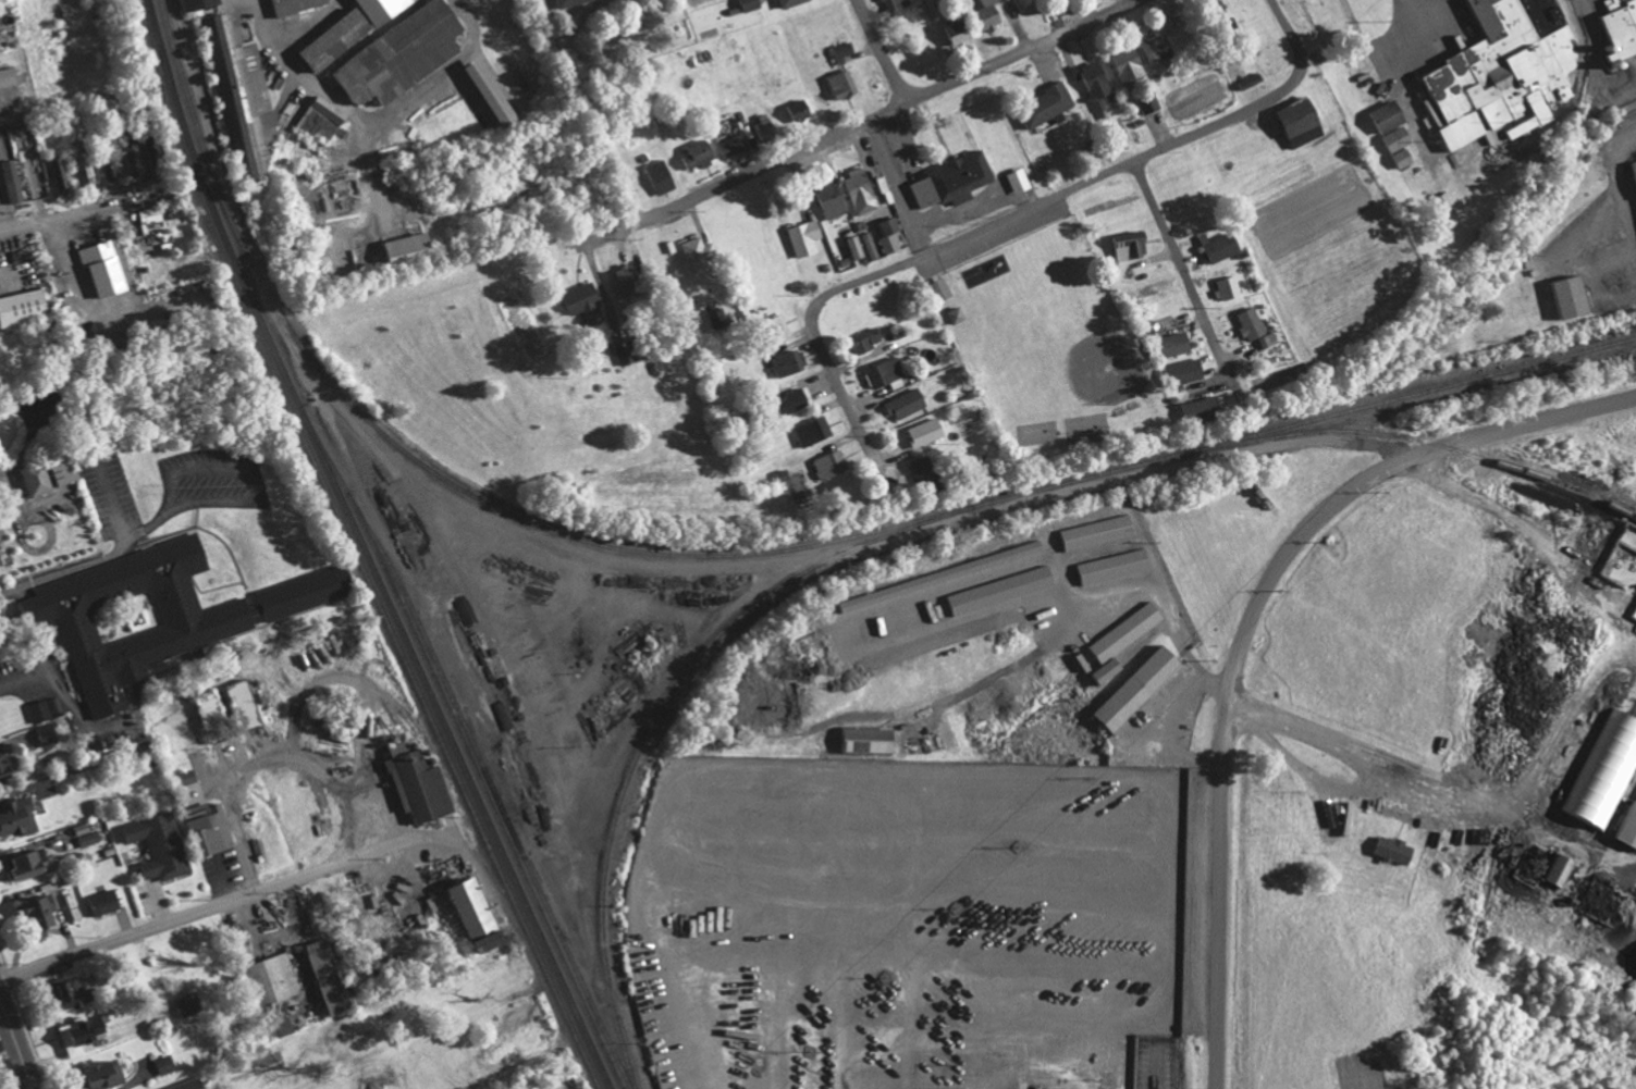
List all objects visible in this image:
road: (1418, 0)
building: (568, 2)
building: (791, 2)
building: (200, 4)
building: (749, 4)
building: (895, 4)
building: (296, 5)
building: (386, 9)
building: (981, 15)
building: (1214, 15)
road: (267, 24)
road: (308, 25)
building: (1615, 27)
building: (959, 32)
building: (341, 38)
building: (1151, 47)
building: (845, 49)
road: (882, 50)
building: (404, 54)
building: (1121, 64)
building: (10, 77)
building: (1500, 77)
building: (1087, 78)
building: (844, 84)
building: (243, 92)
building: (496, 92)
building: (1145, 102)
road: (396, 104)
building: (1041, 104)
railway: (297, 107)
building: (800, 110)
road: (588, 116)
building: (1380, 116)
building: (322, 120)
road: (868, 121)
building: (1291, 123)
building: (768, 128)
building: (1391, 139)
building: (736, 144)
building: (157, 150)
building: (134, 153)
building: (700, 154)
building: (1397, 158)
building: (84, 161)
building: (112, 168)
building: (1631, 169)
building: (61, 174)
building: (662, 175)
building: (1013, 180)
building: (15, 181)
building: (954, 181)
road: (898, 187)
building: (861, 190)
building: (832, 199)
road: (1019, 213)
road: (57, 214)
building: (151, 214)
railway: (1521, 221)
railway: (236, 227)
building: (890, 233)
building: (805, 237)
building: (870, 245)
building: (1122, 245)
building: (857, 247)
building: (413, 248)
building: (1214, 248)
building: (702, 255)
road: (1178, 261)
building: (107, 267)
building: (631, 280)
building: (1223, 287)
building: (943, 288)
building: (1561, 296)
building: (586, 301)
building: (26, 307)
road: (116, 307)
building: (718, 318)
building: (1245, 323)
building: (866, 341)
building: (1164, 345)
building: (622, 354)
building: (790, 362)
building: (886, 372)
building: (1177, 372)
building: (797, 398)
building: (908, 403)
building: (1193, 409)
building: (38, 418)
railway: (1300, 421)
building: (814, 431)
building: (927, 432)
railway: (1423, 440)
building: (832, 463)
building: (927, 471)
building: (52, 474)
road: (152, 524)
building: (1099, 532)
railway: (367, 549)
railway: (356, 550)
railway: (653, 550)
road: (103, 558)
building: (1116, 566)
building: (936, 578)
building: (157, 615)
road: (1247, 620)
building: (1129, 631)
building: (1110, 670)
road: (19, 680)
building: (1142, 688)
railway: (453, 696)
building: (58, 704)
building: (248, 704)
building: (41, 710)
railway: (653, 716)
building: (52, 733)
building: (872, 739)
road: (1332, 743)
railway: (464, 744)
road: (270, 758)
building: (10, 767)
road: (1309, 772)
building: (190, 777)
building: (421, 784)
building: (20, 817)
building: (1343, 818)
building: (216, 827)
building: (1625, 827)
building: (90, 838)
building: (163, 845)
building: (1387, 851)
building: (28, 863)
building: (1554, 871)
building: (104, 902)
building: (478, 908)
building: (46, 913)
road: (189, 916)
building: (497, 942)
building: (330, 976)
building: (279, 978)
building: (78, 992)
building: (190, 1003)
building: (86, 1035)
road: (16, 1043)
building: (167, 1064)
building: (110, 1075)
building: (185, 1086)

